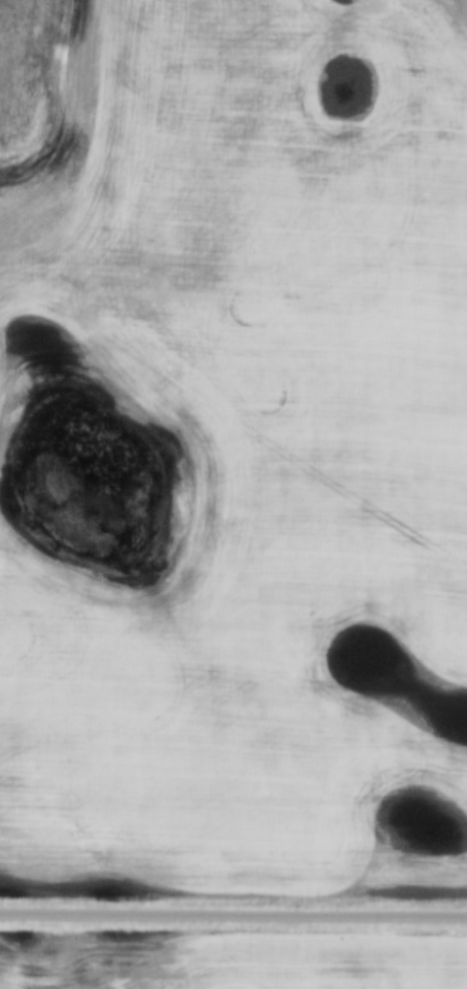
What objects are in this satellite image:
road: (233, 915)

